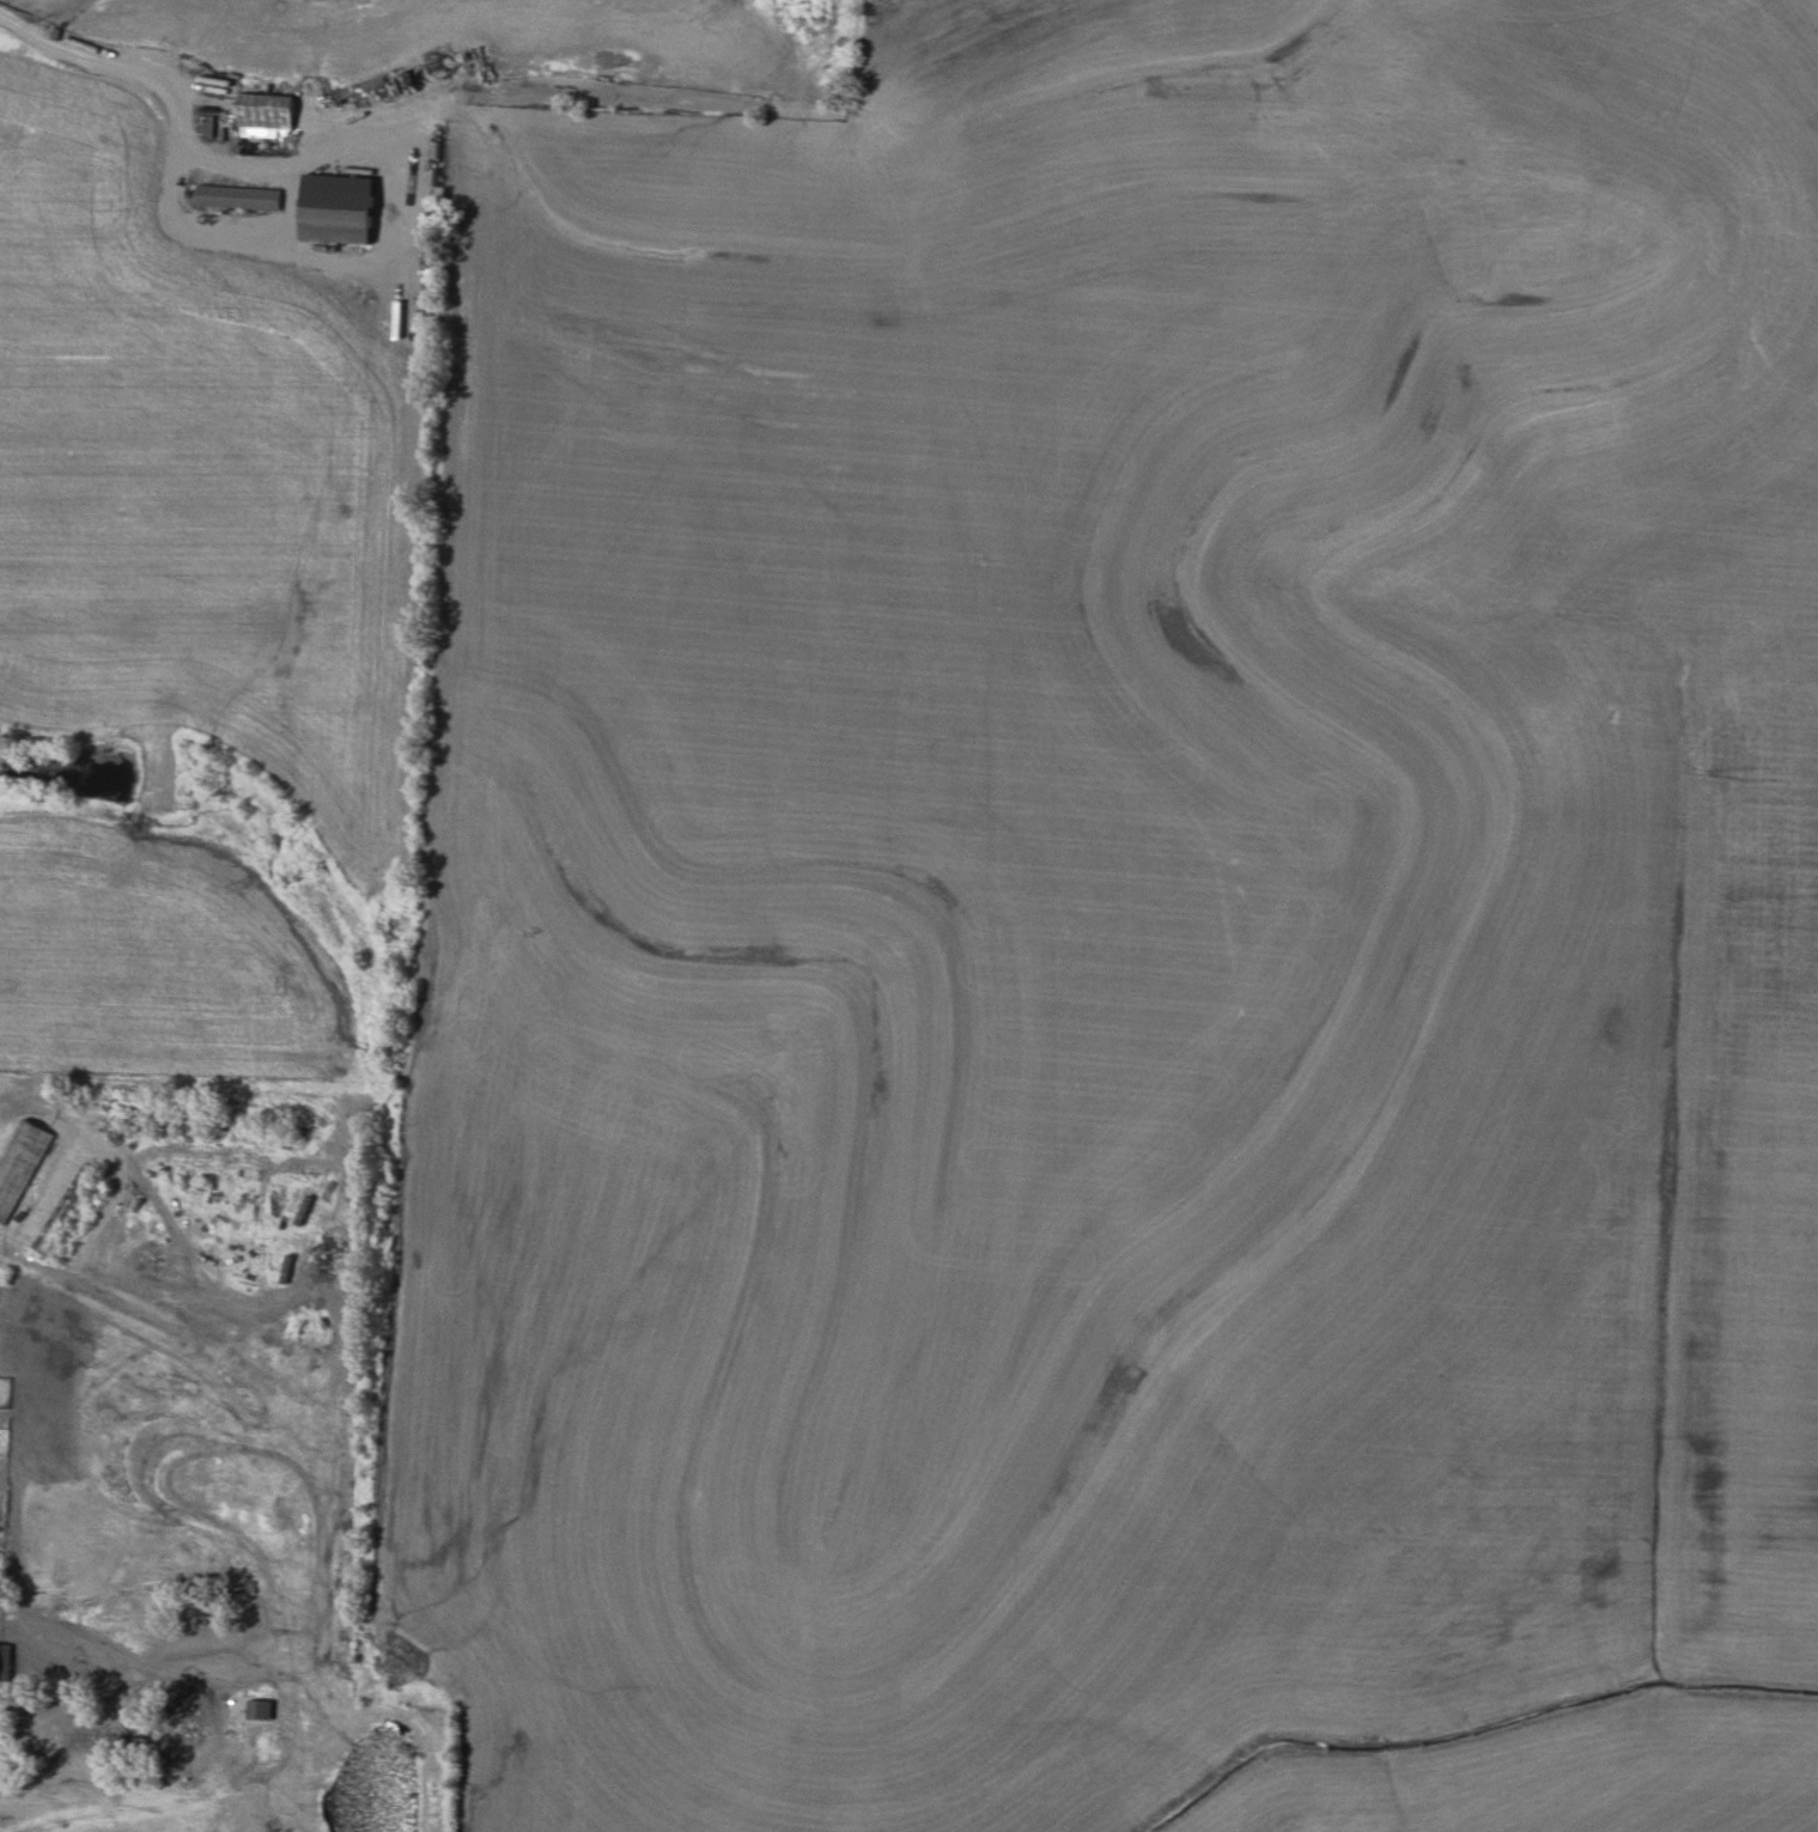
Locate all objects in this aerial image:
crop: (55, 5)
crop: (481, 32)
building: (267, 116)
road: (187, 140)
building: (238, 197)
building: (339, 208)
crop: (199, 474)
crop: (1120, 911)
crop: (152, 962)
building: (20, 1164)
building: (6, 1661)
building: (261, 1709)
crop: (1559, 1779)

